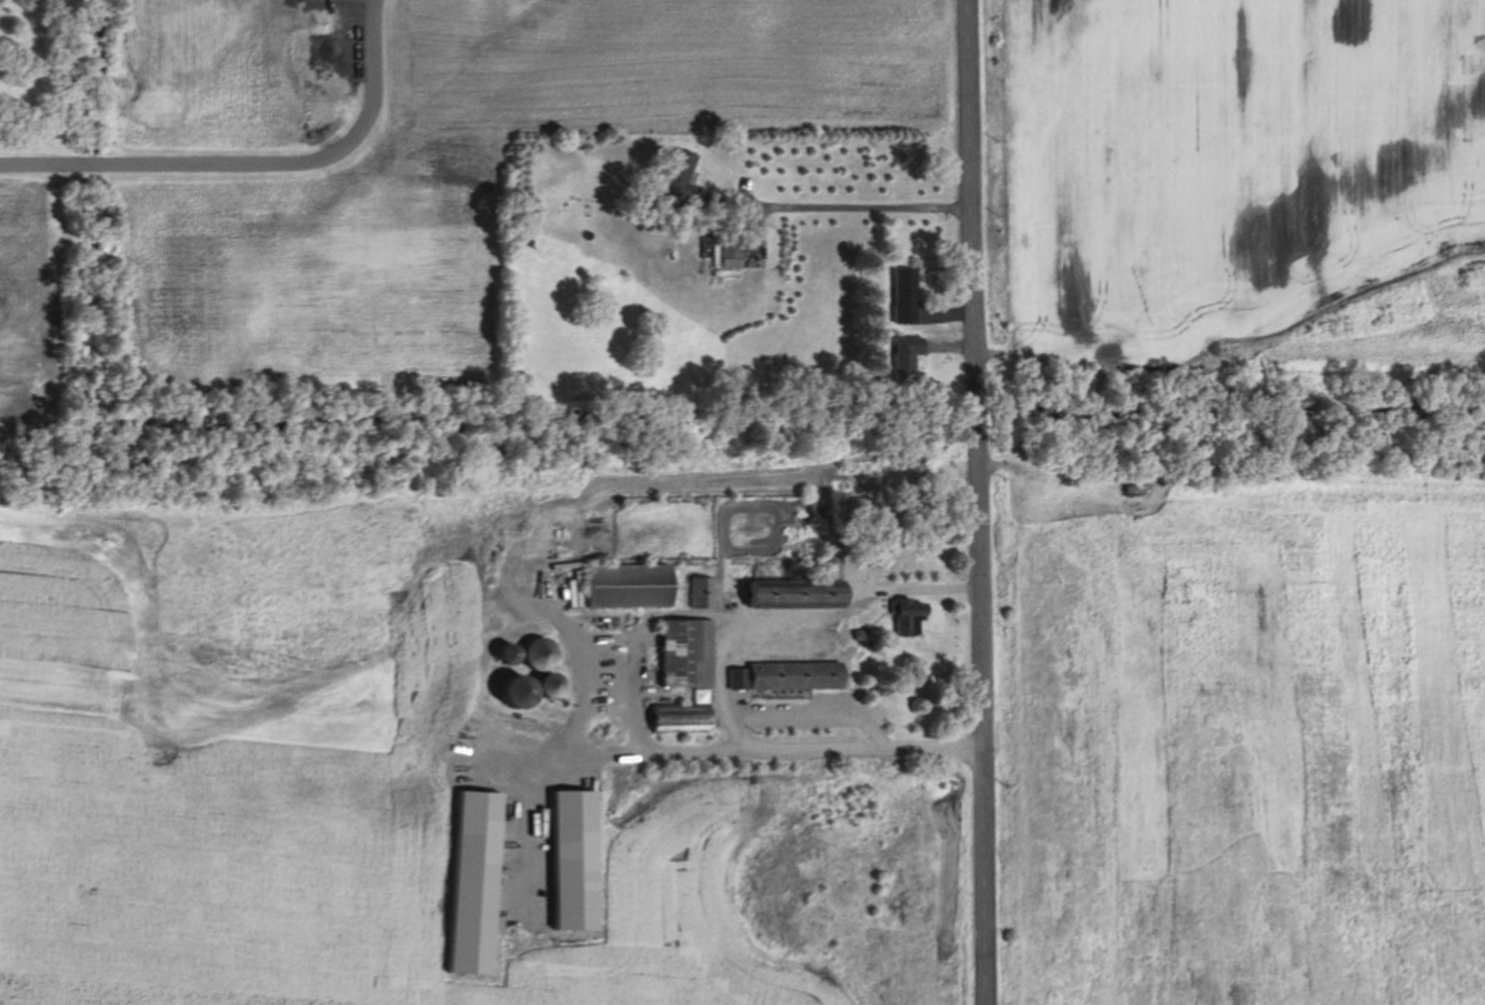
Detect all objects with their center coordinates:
road: (255, 165)
building: (678, 174)
road: (868, 207)
building: (728, 257)
building: (912, 301)
building: (906, 361)
road: (982, 502)
building: (628, 586)
building: (799, 593)
building: (703, 595)
building: (907, 617)
building: (540, 654)
building: (687, 654)
building: (787, 676)
road: (726, 682)
building: (549, 686)
building: (516, 692)
building: (683, 716)
road: (640, 732)
building: (575, 860)
building: (475, 883)

